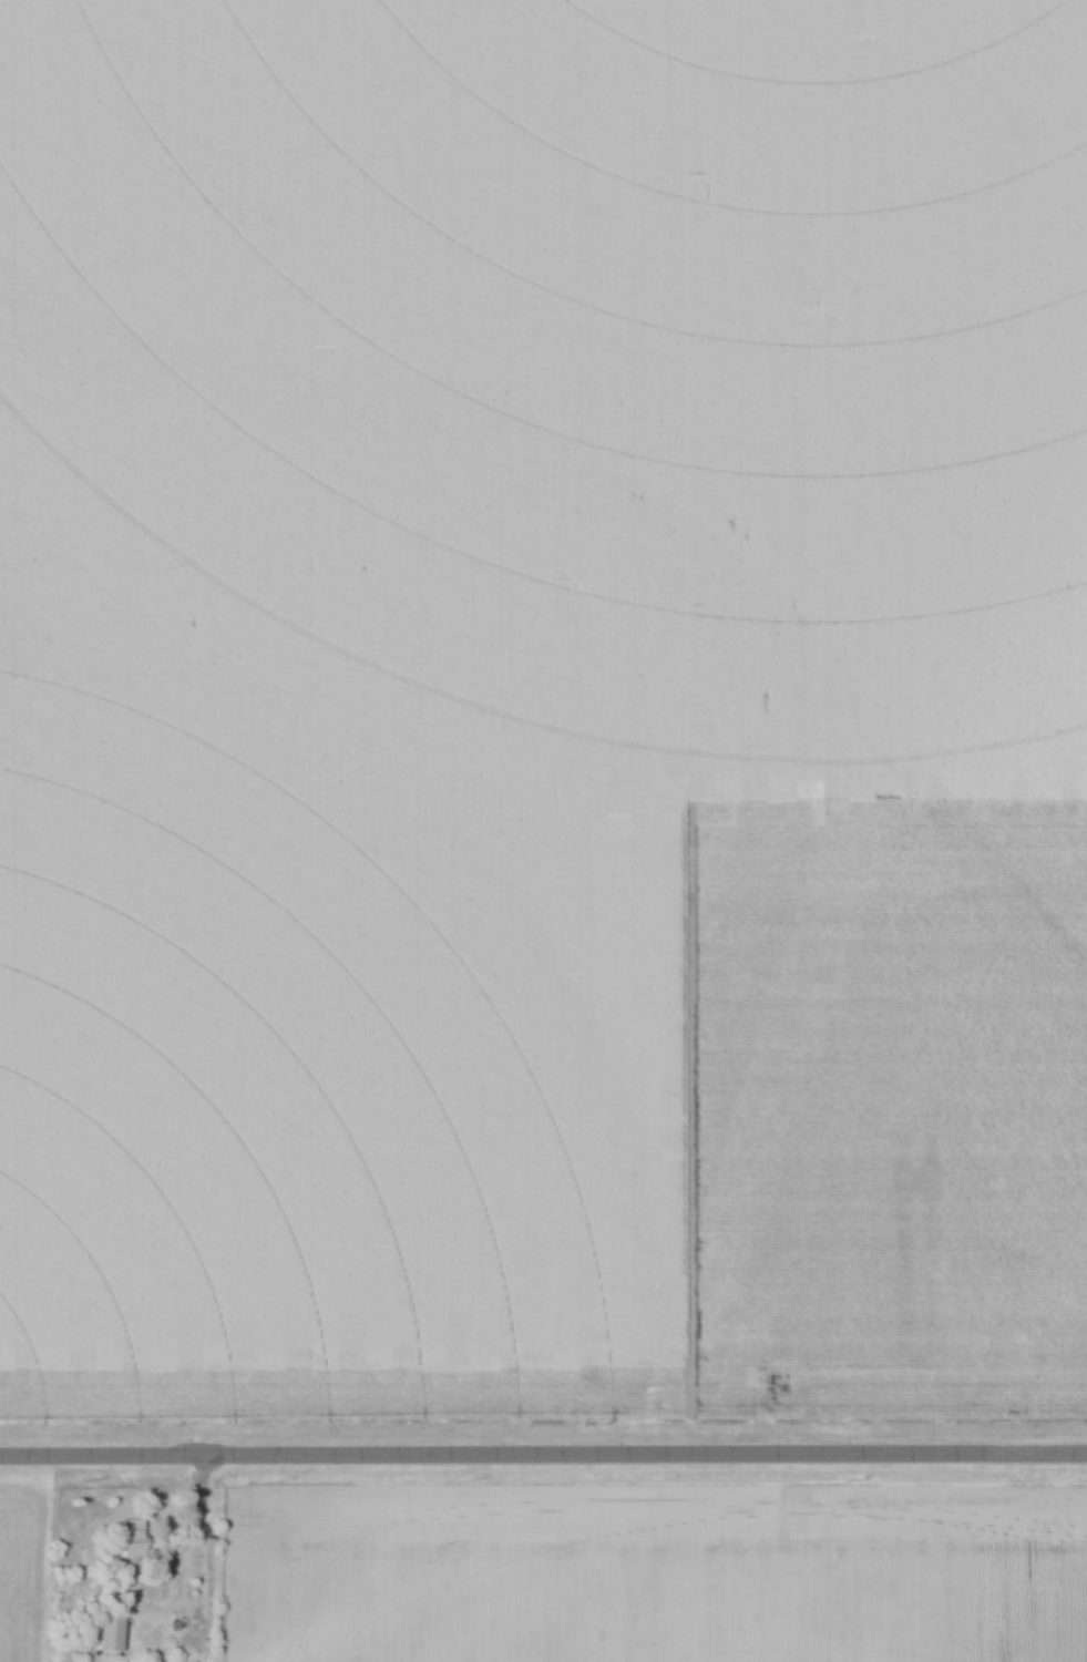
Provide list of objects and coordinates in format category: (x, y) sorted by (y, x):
crop: (658, 288)
crop: (469, 937)
road: (543, 1454)
road: (188, 1533)
building: (127, 1545)
crop: (653, 1572)
crop: (14, 1573)
building: (106, 1631)

